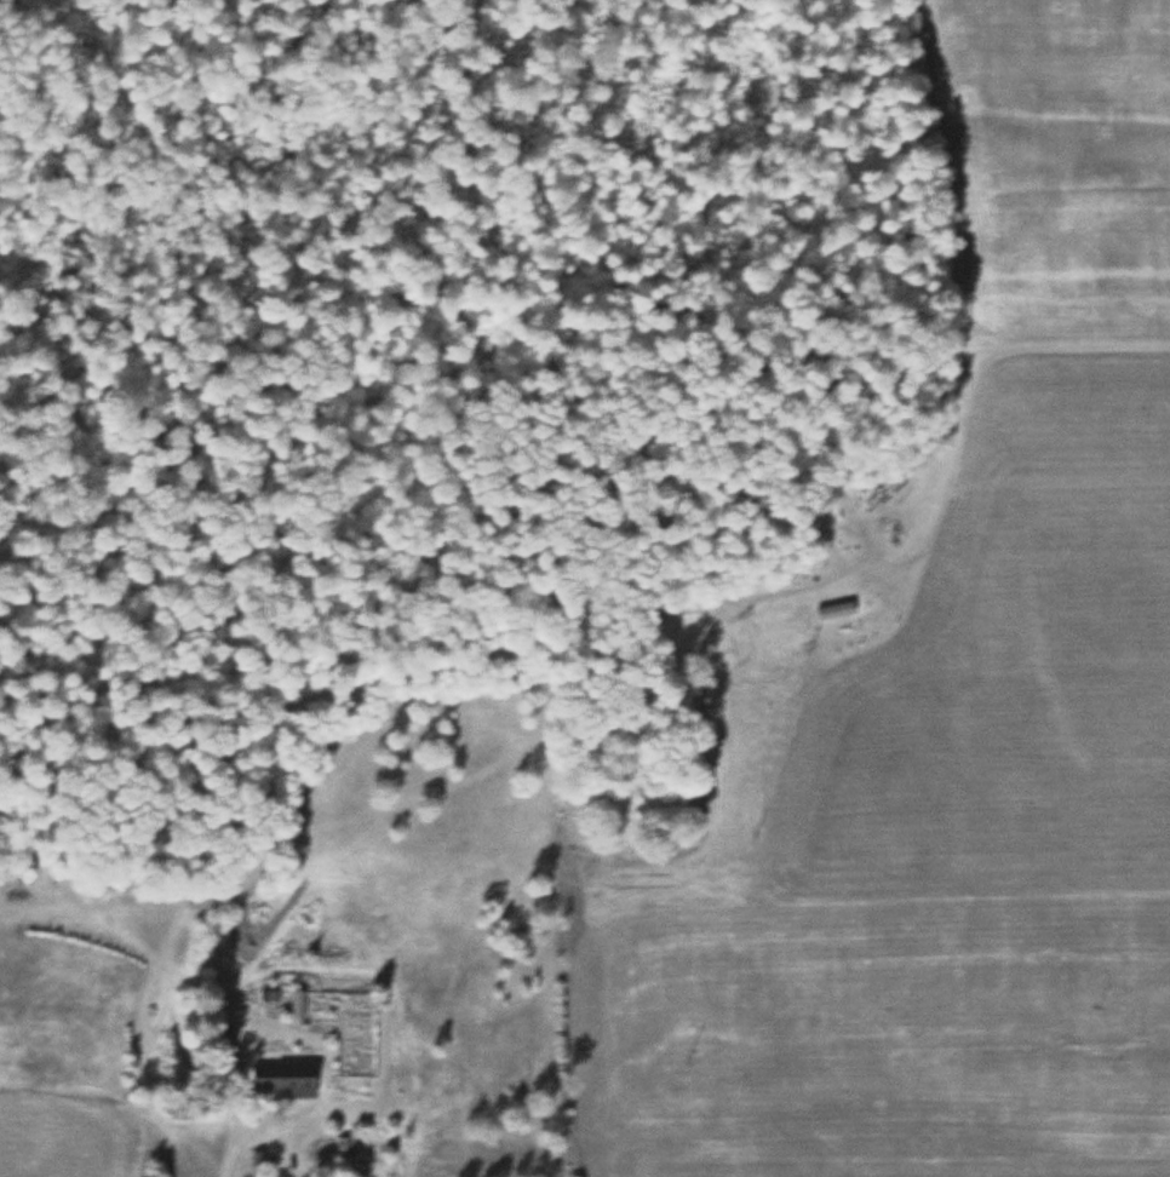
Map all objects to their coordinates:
building: (283, 1076)
road: (252, 1124)
road: (230, 1137)

